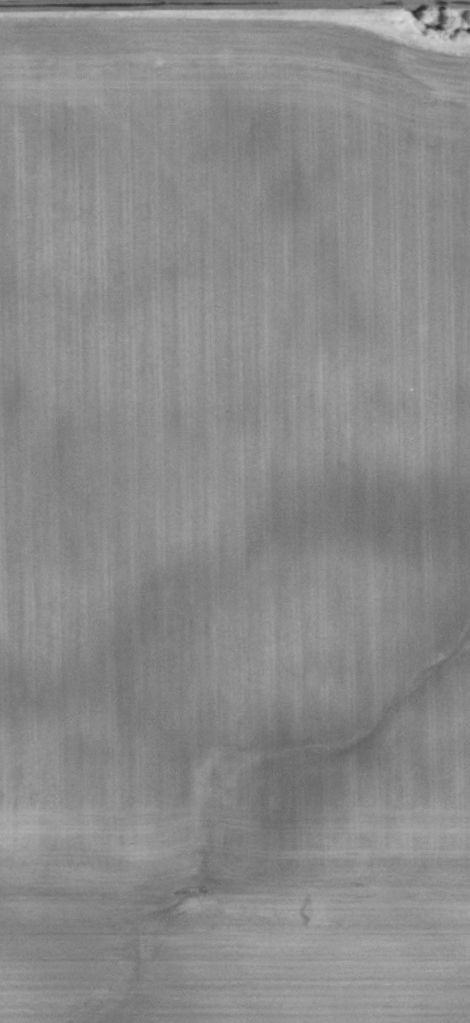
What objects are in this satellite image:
road: (235, 4)

